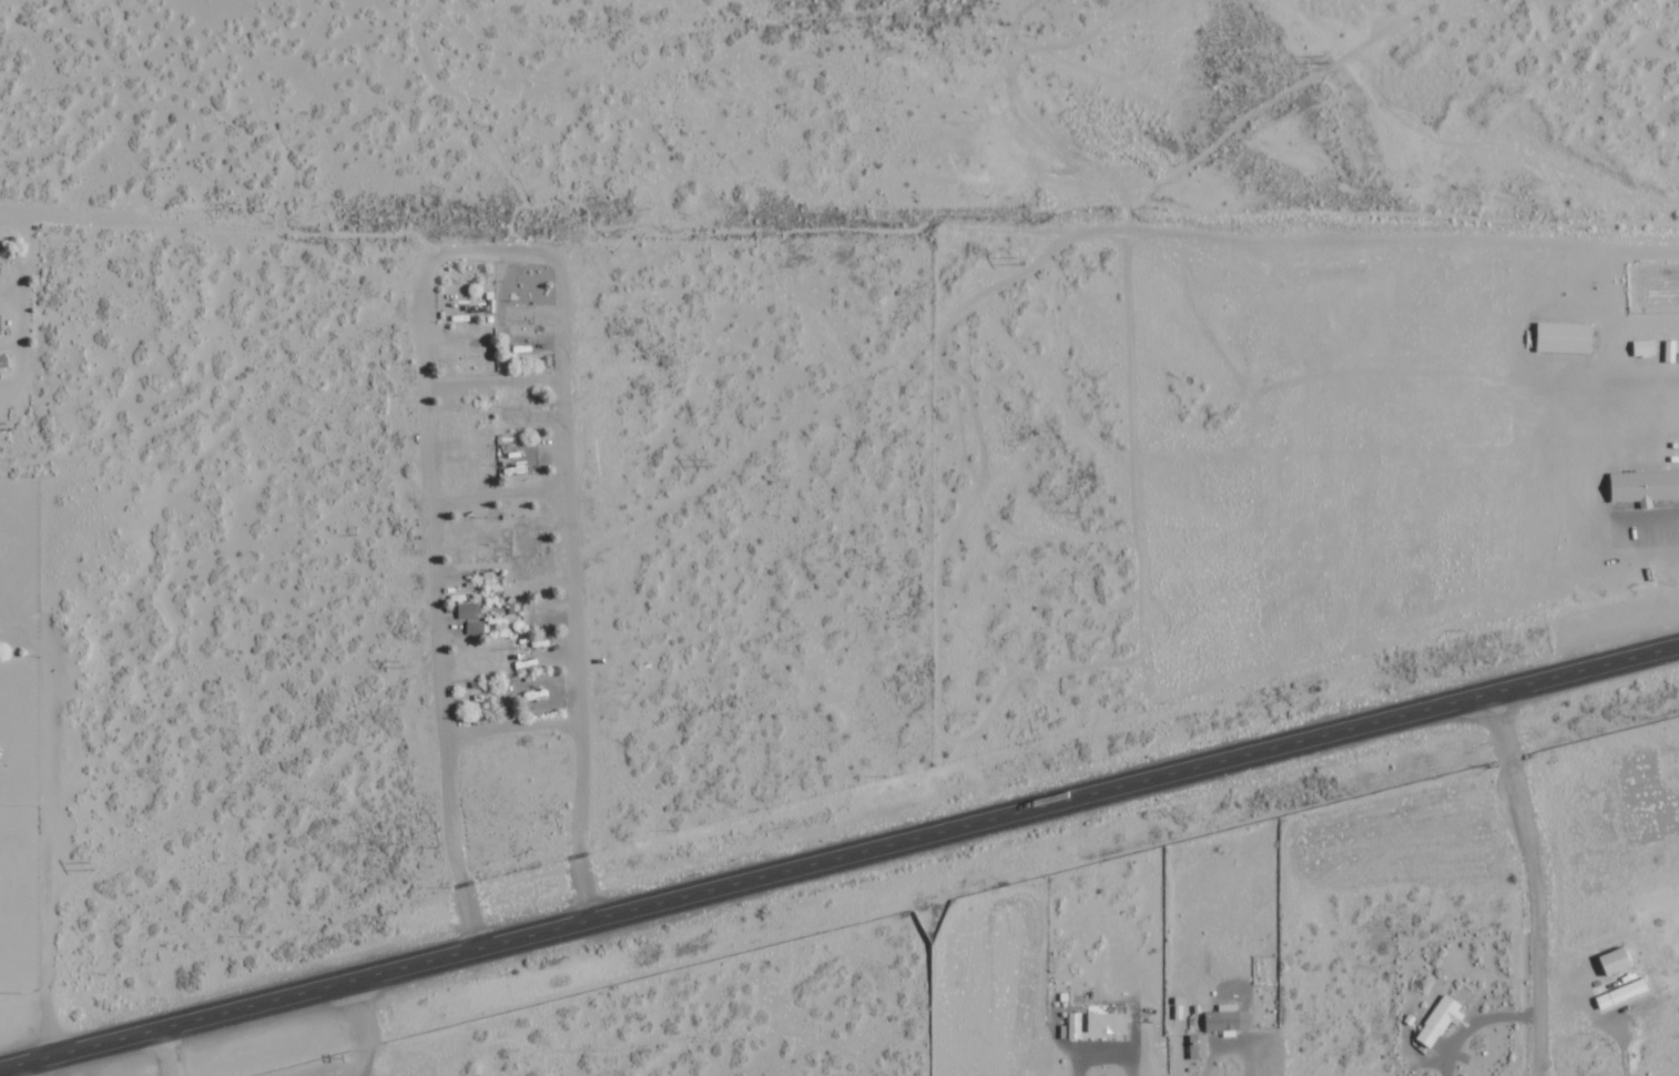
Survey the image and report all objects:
road: (840, 197)
building: (1567, 337)
building: (1645, 487)
building: (469, 611)
road: (840, 856)
building: (1618, 961)
building: (1624, 993)
building: (1229, 1019)
building: (1442, 1019)
building: (1109, 1023)
road: (165, 1052)
road: (22, 1069)

